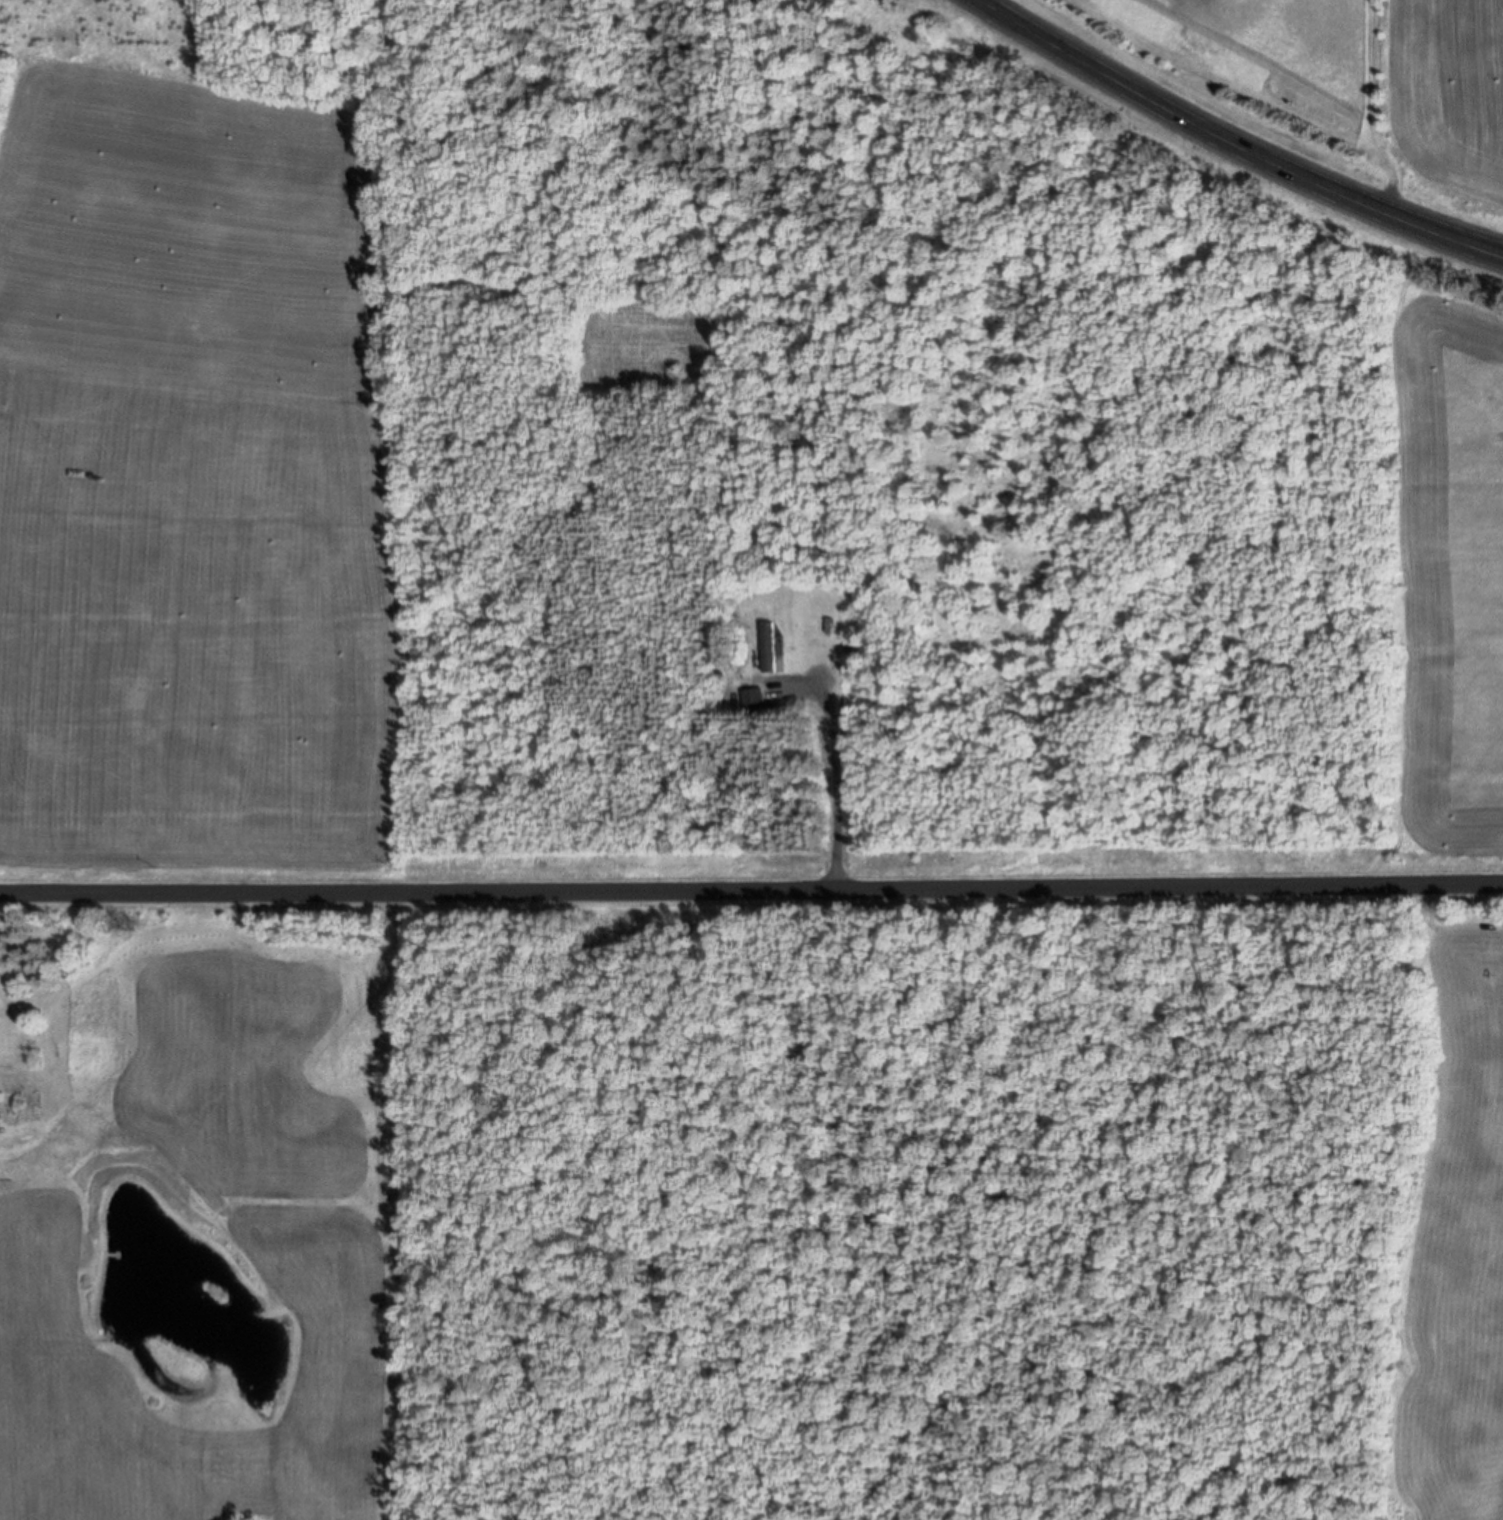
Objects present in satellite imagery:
road: (1231, 146)
crop: (189, 487)
crop: (1450, 559)
building: (771, 649)
building: (753, 698)
road: (833, 781)
crop: (130, 882)
road: (751, 891)
building: (7, 1073)

